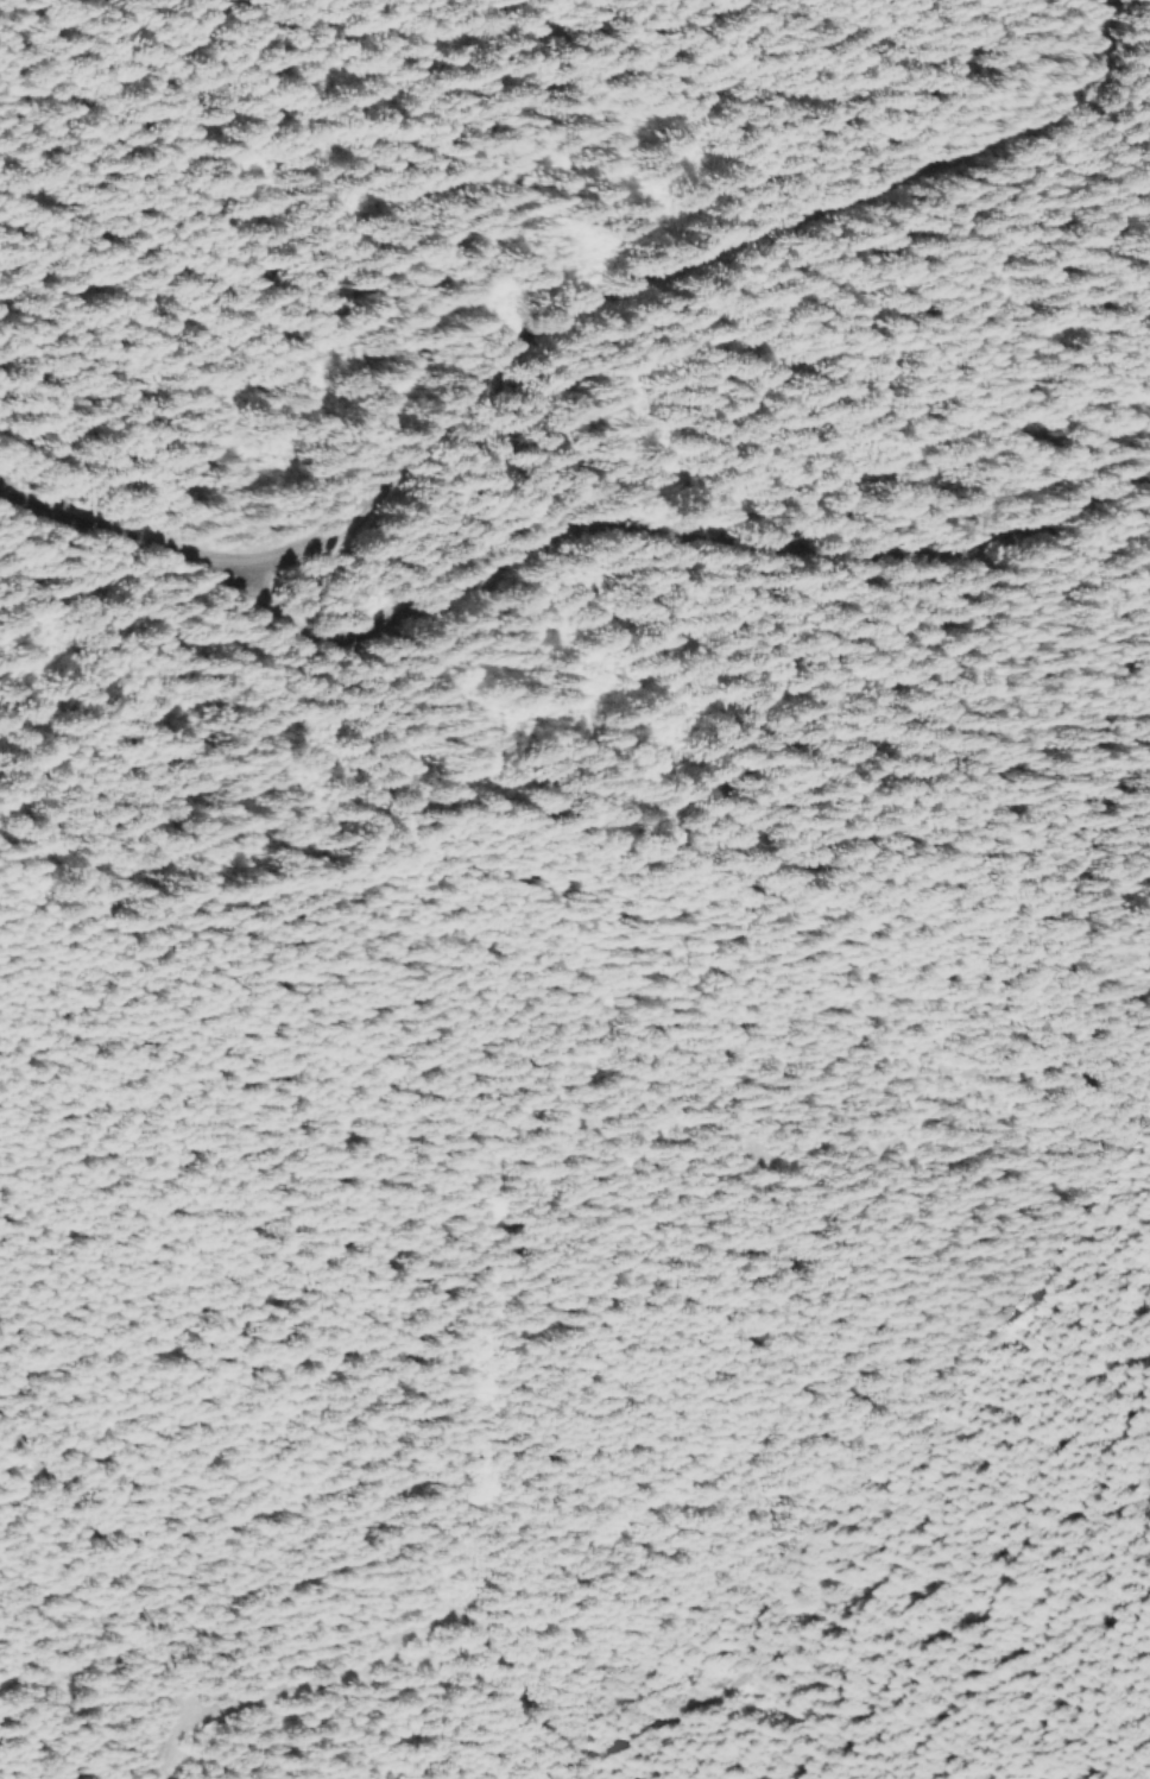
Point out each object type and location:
road: (562, 321)
road: (658, 531)
road: (131, 1584)

